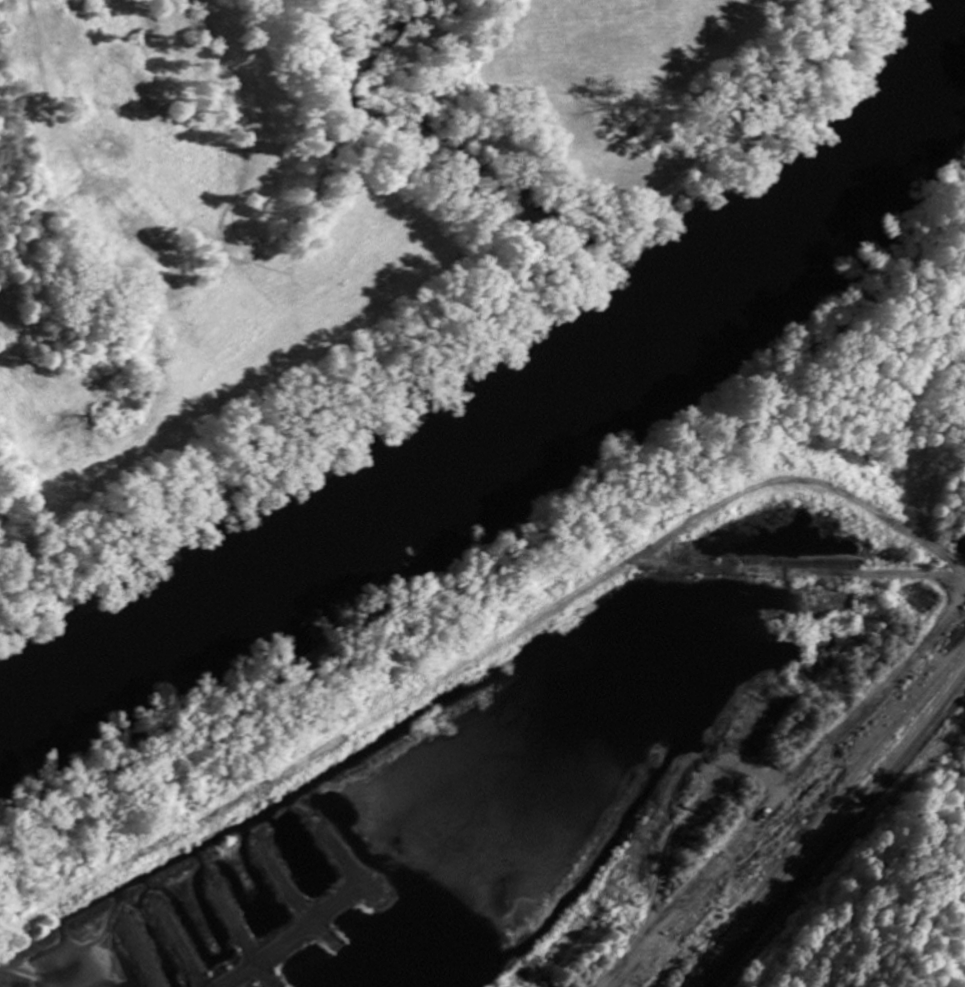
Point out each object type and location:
river: (524, 413)
railway: (826, 836)
railway: (769, 915)

